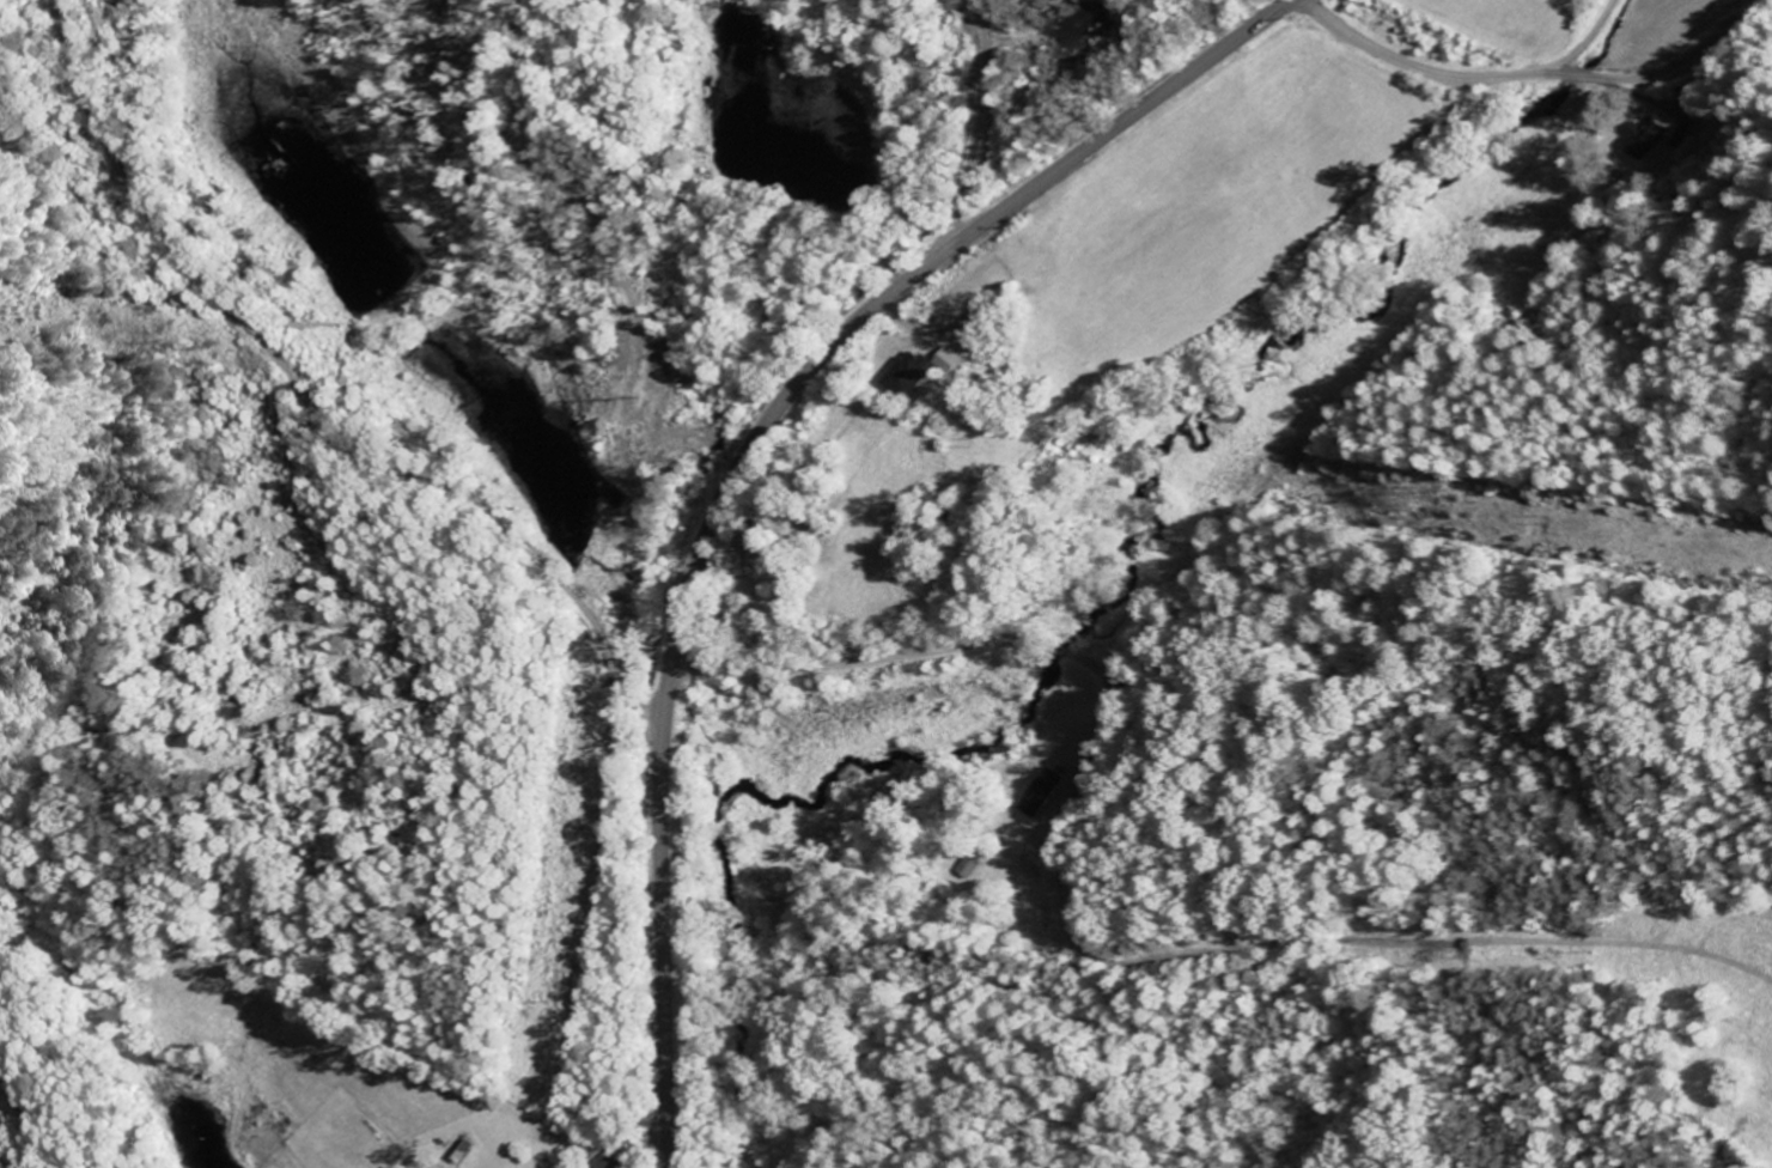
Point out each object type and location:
road: (1674, 65)
road: (1462, 79)
building: (1642, 136)
building: (955, 359)
building: (914, 375)
road: (745, 462)
road: (989, 641)
building: (1043, 792)
building: (615, 1160)

